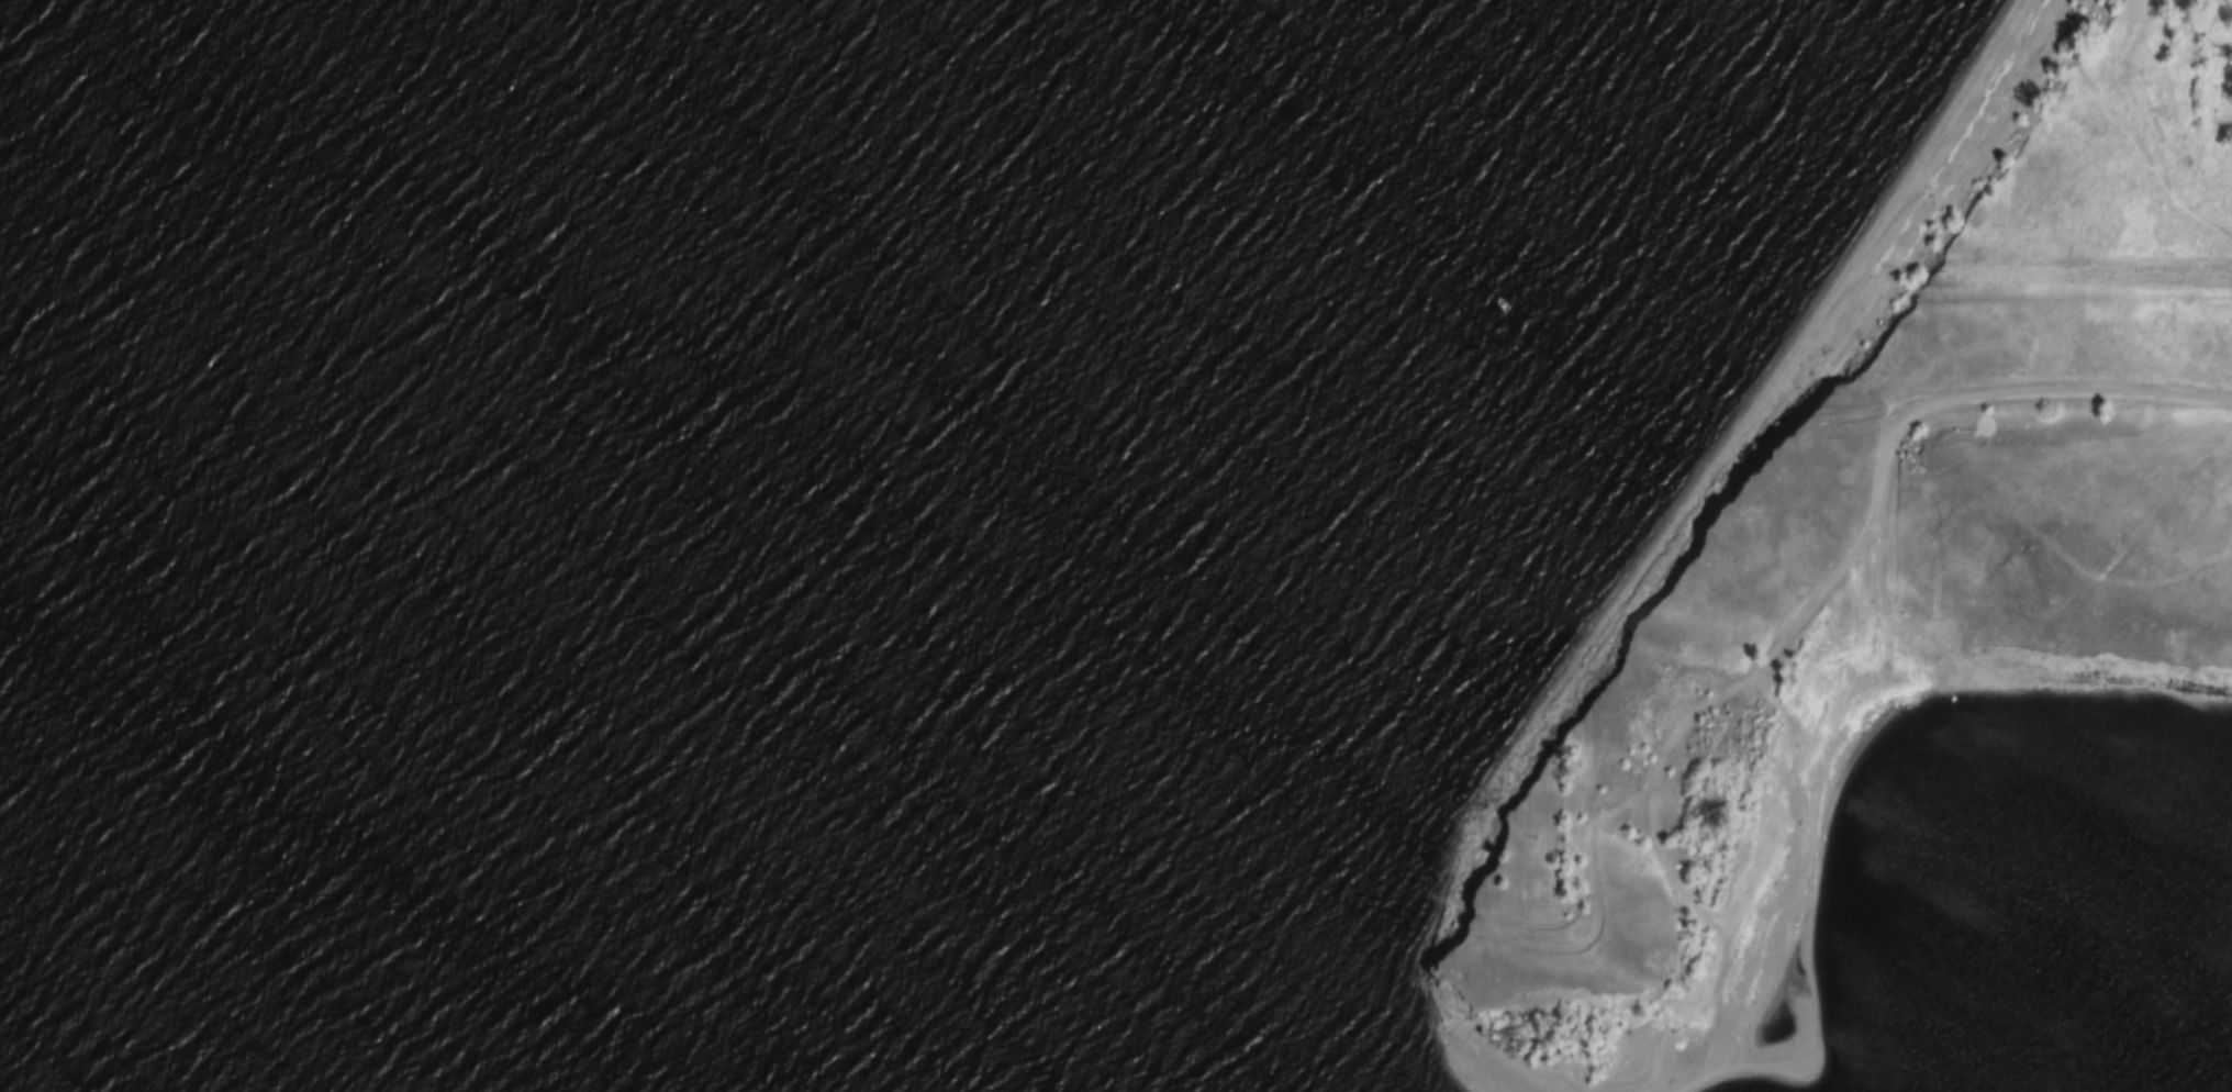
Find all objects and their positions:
road: (1915, 400)

